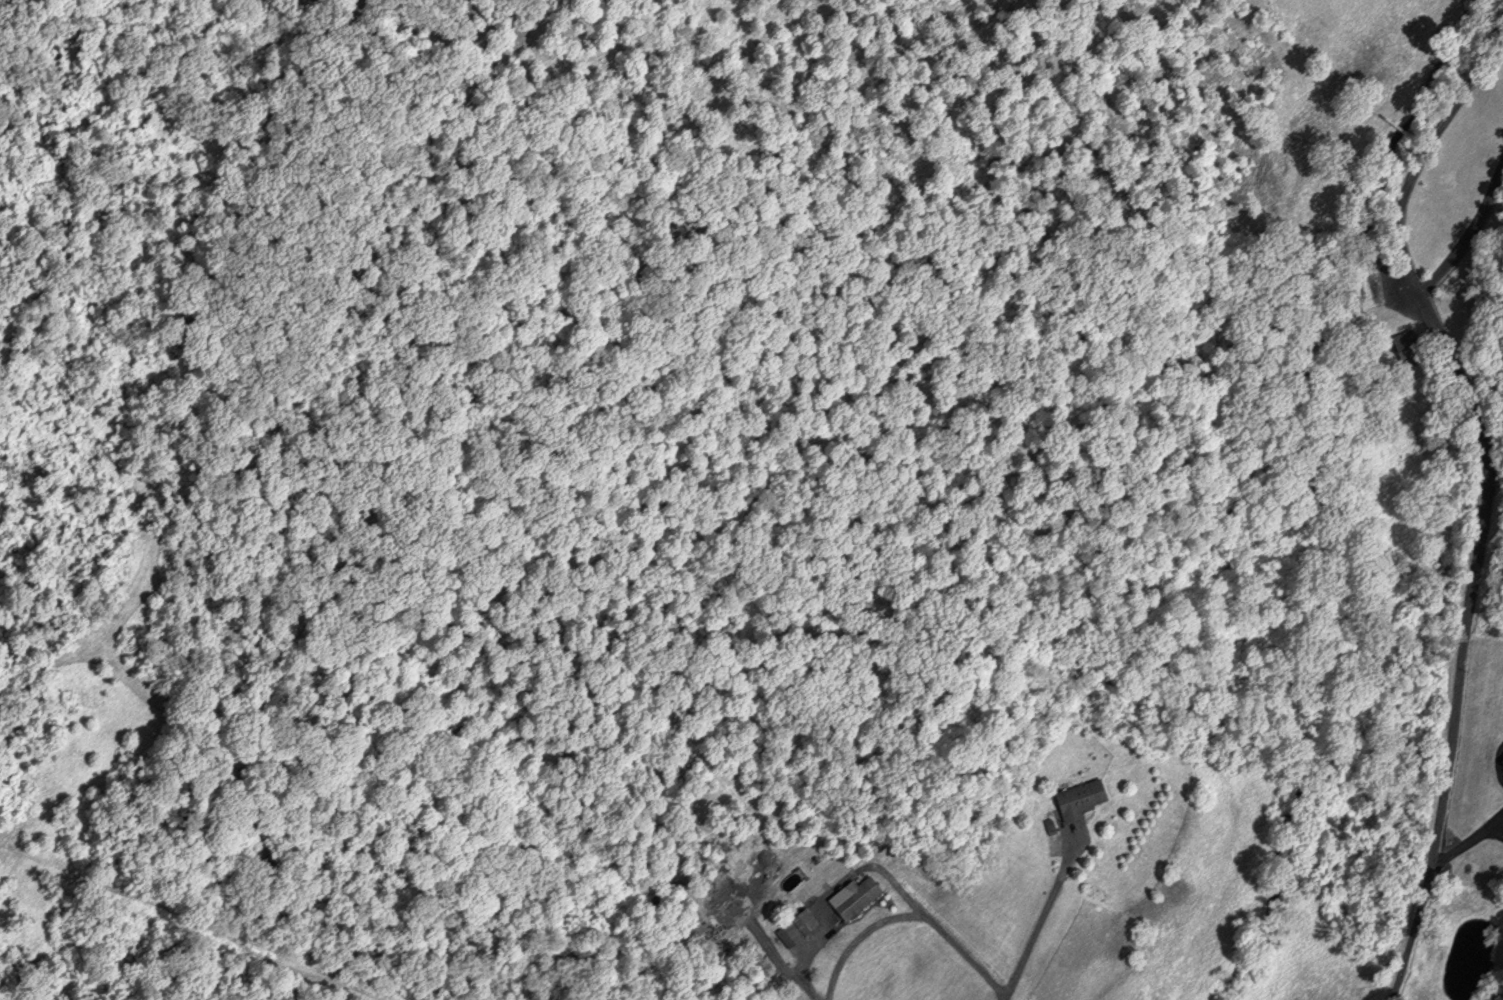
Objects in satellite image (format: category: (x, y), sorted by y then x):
road: (1468, 237)
building: (1407, 347)
road: (1488, 491)
building: (1081, 799)
building: (858, 897)
road: (1043, 917)
building: (798, 925)
road: (808, 961)

